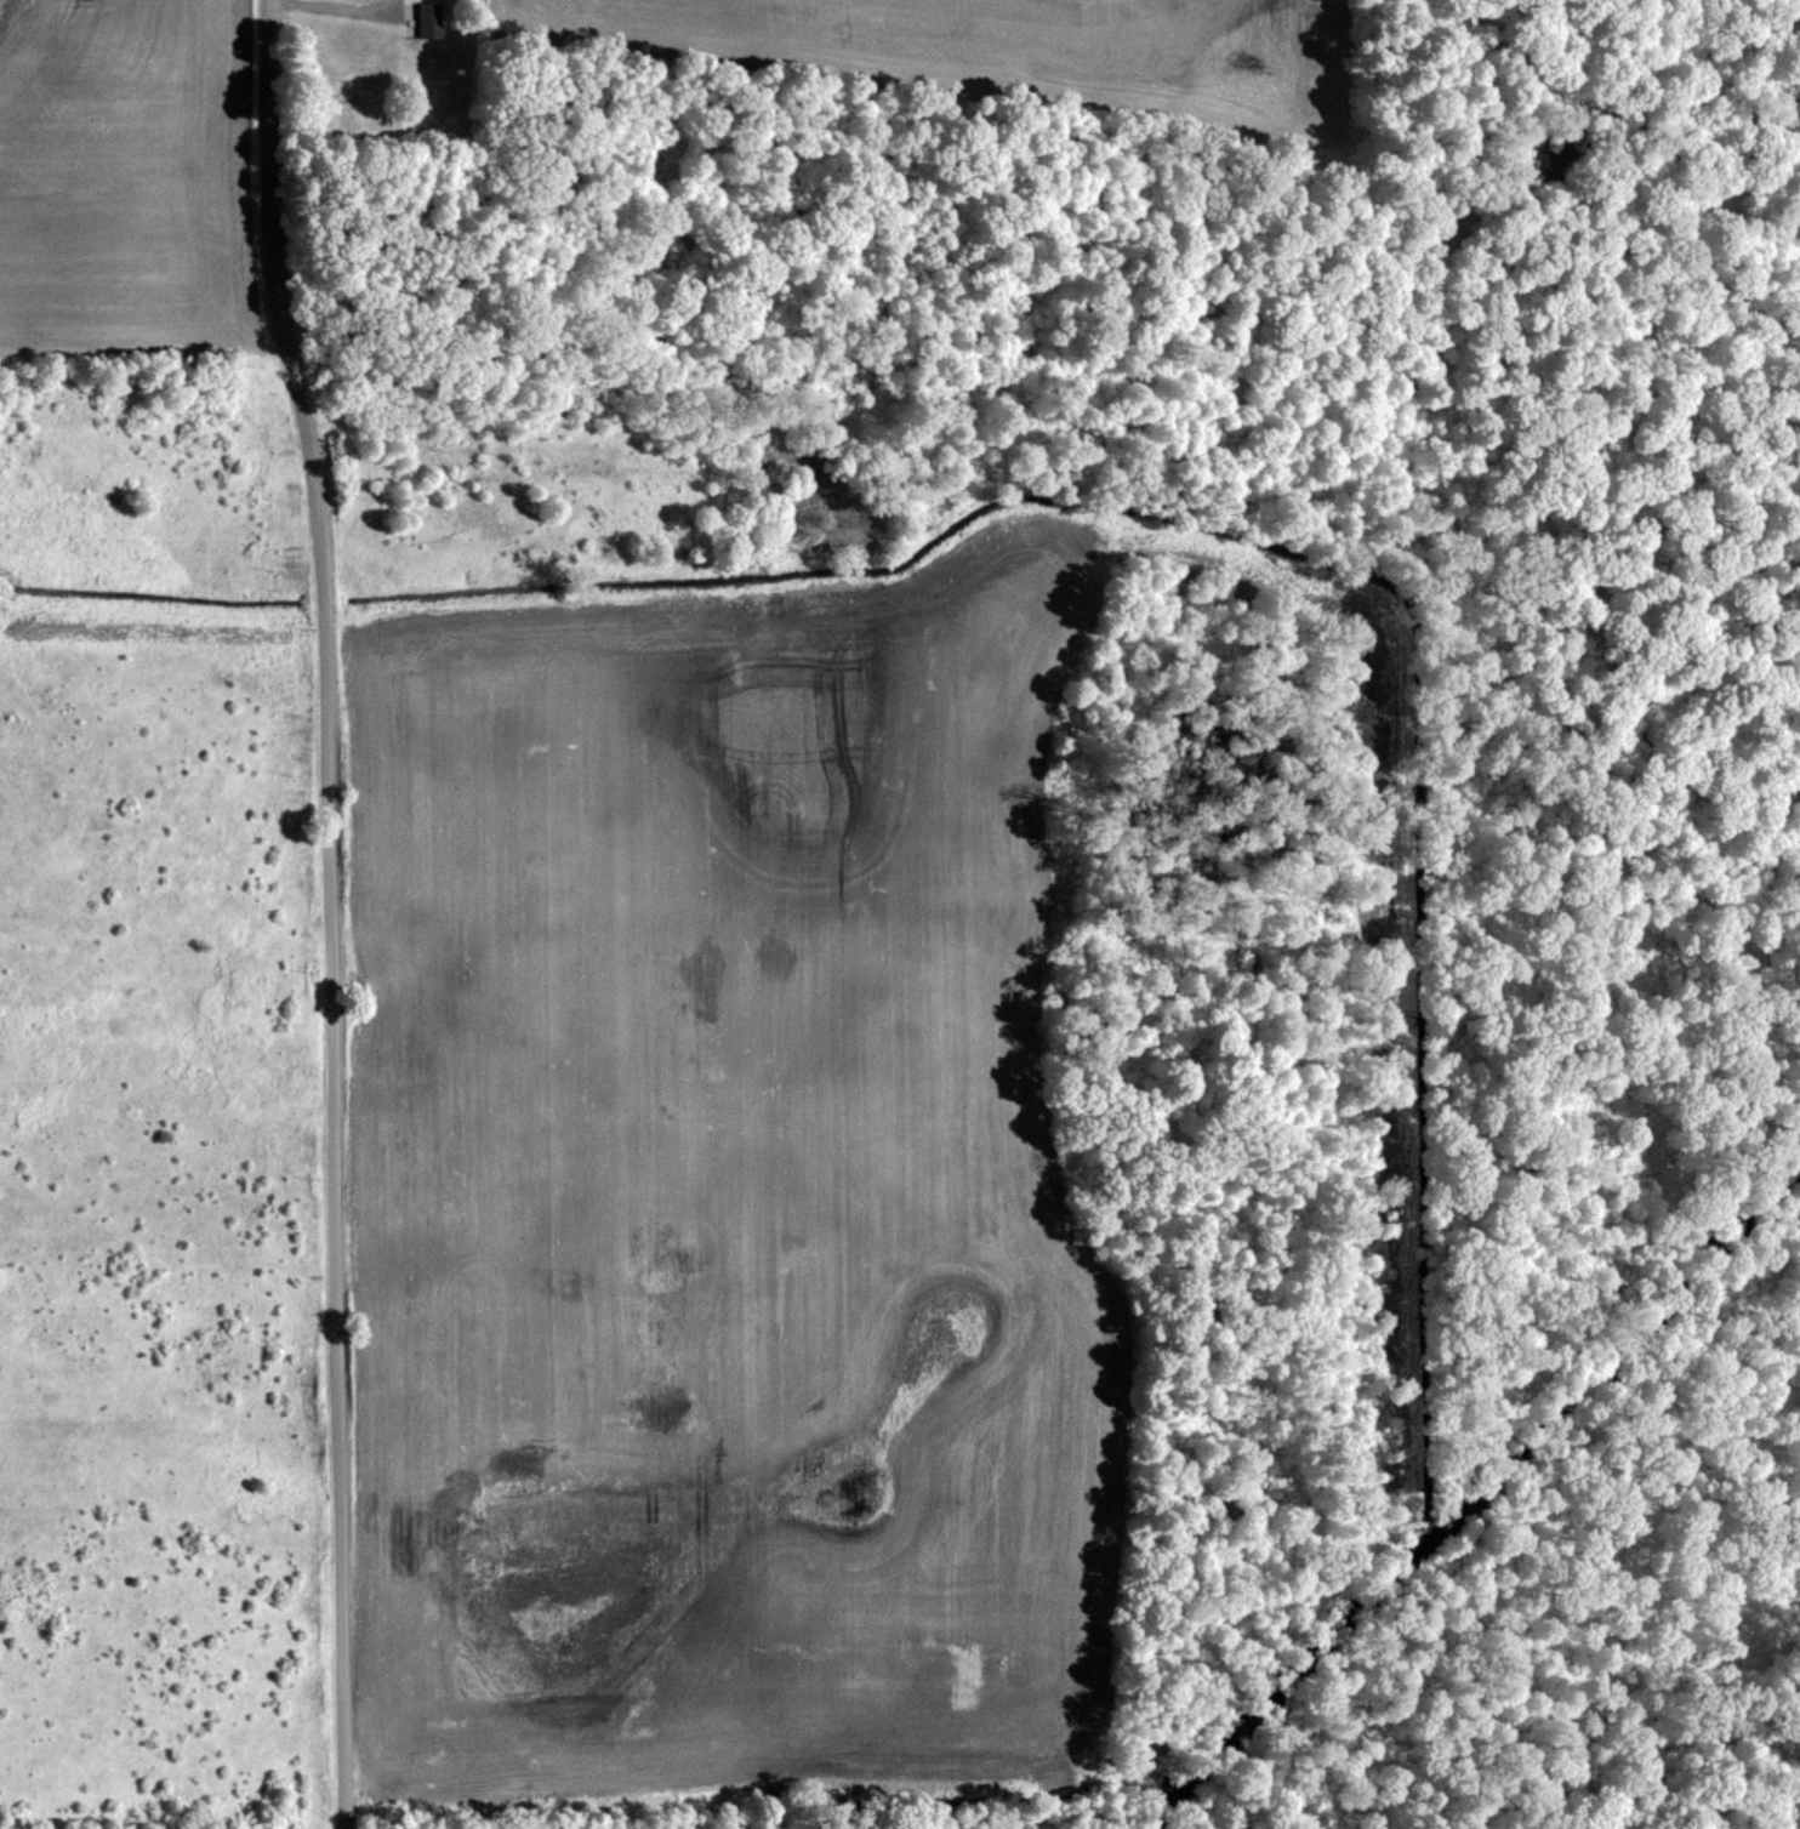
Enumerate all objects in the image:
building: (432, 18)
road: (326, 911)

